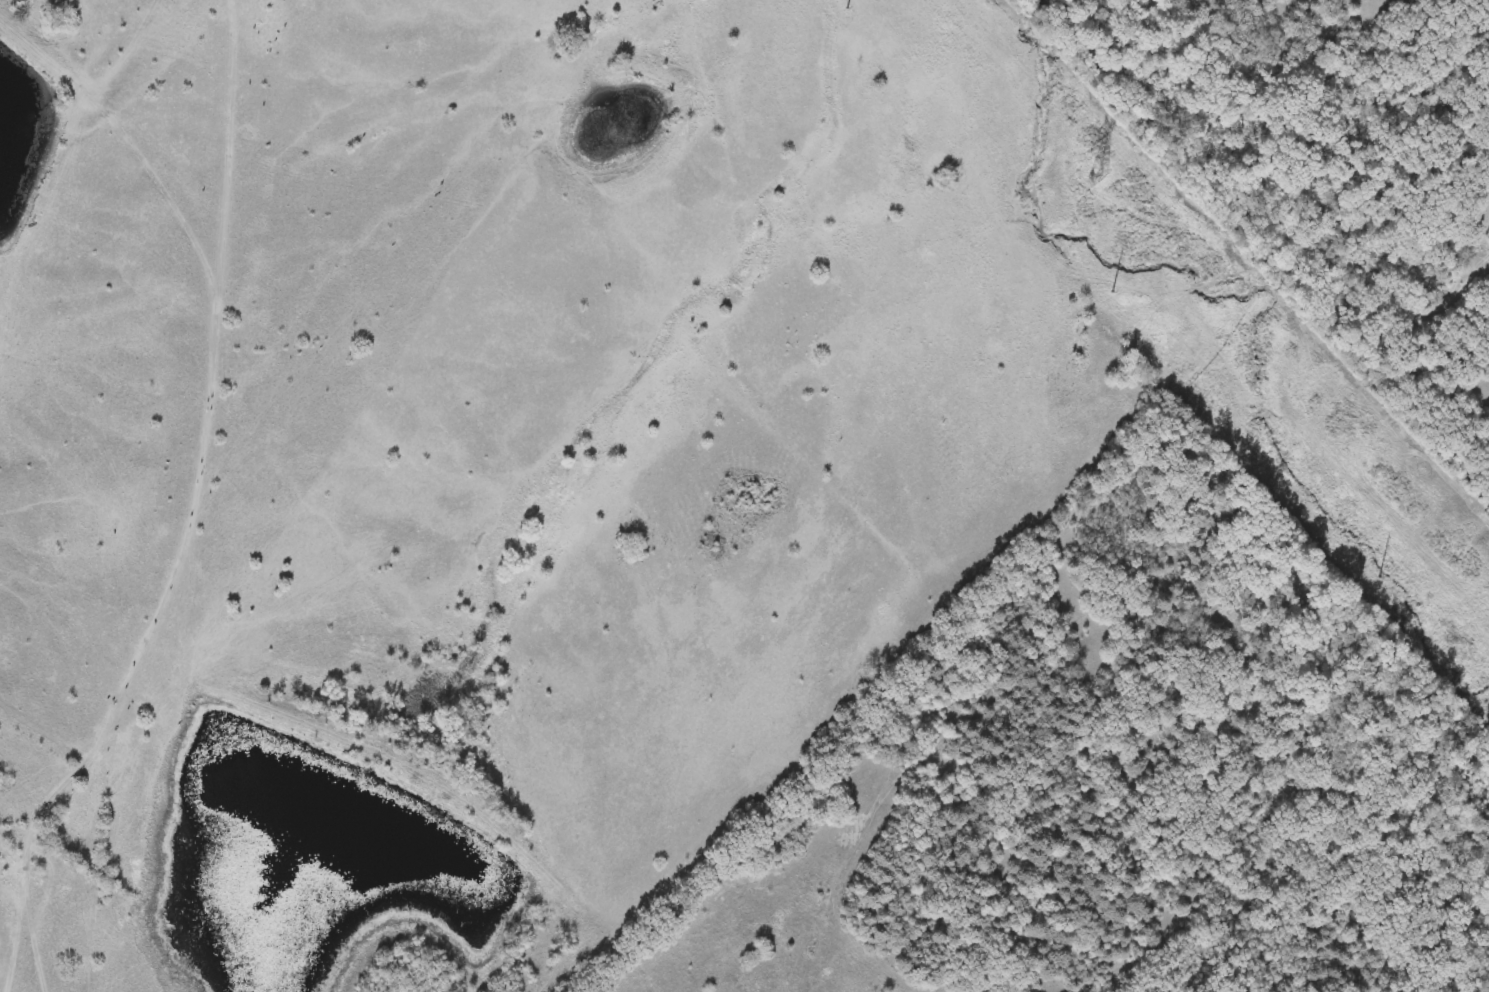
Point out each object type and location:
power tower: (1092, 174)

